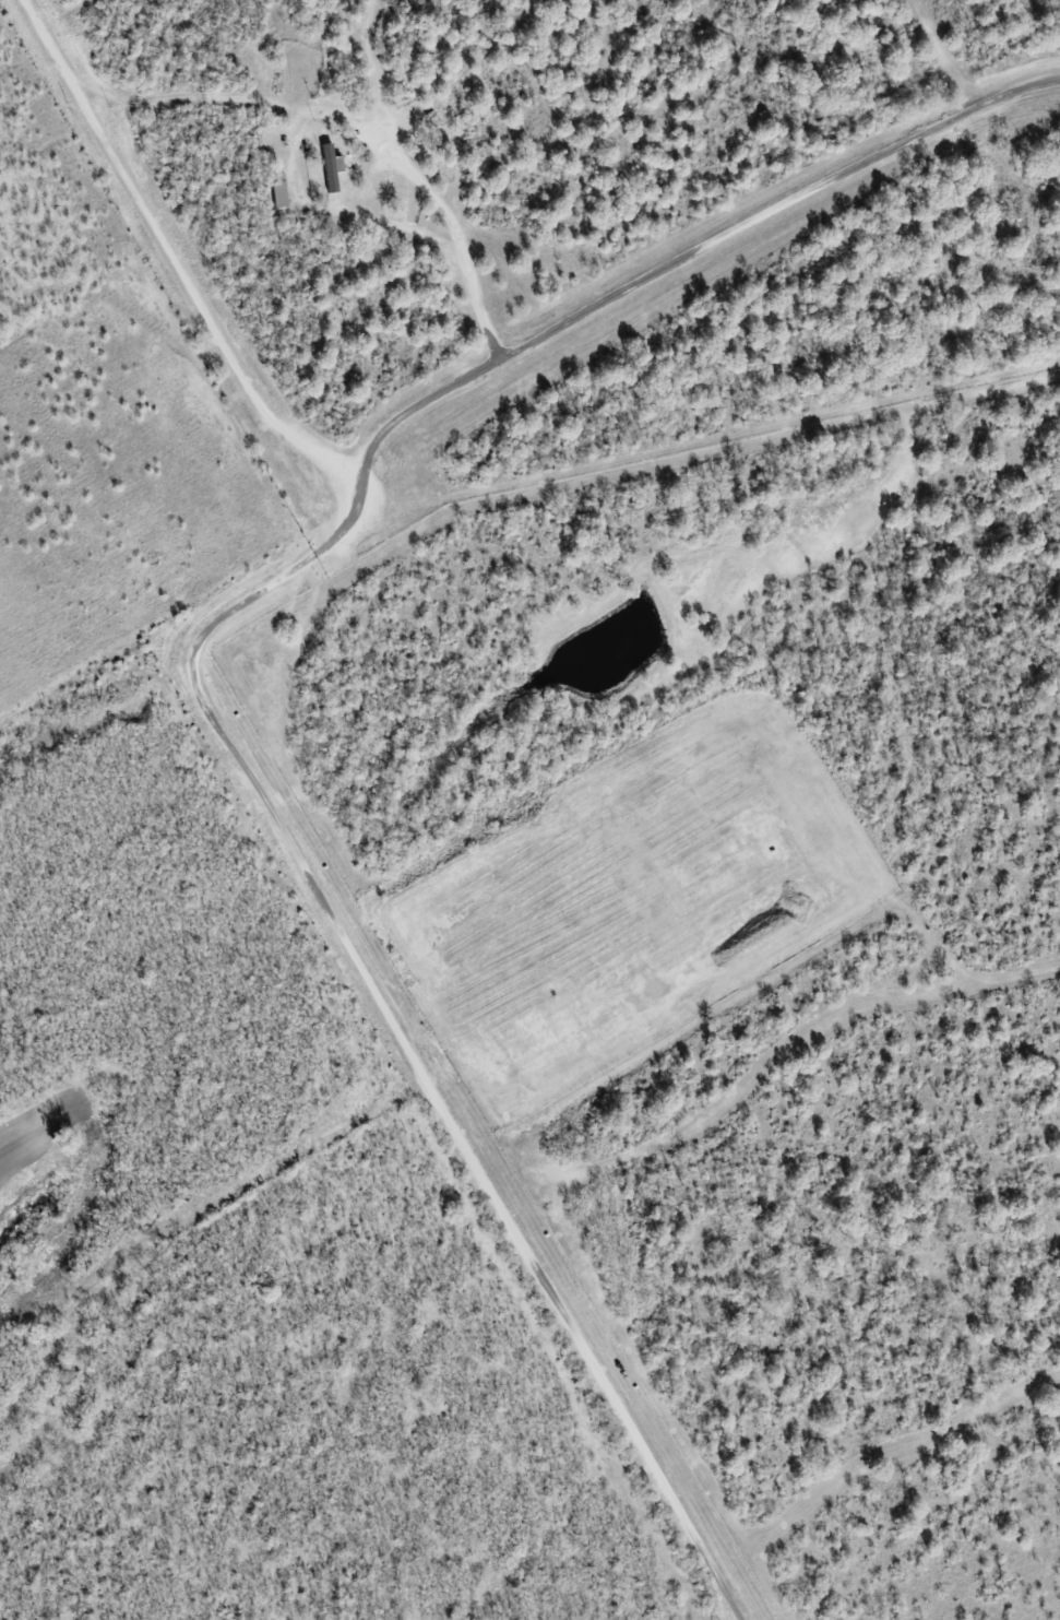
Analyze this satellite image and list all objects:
road: (461, 237)
road: (687, 255)
road: (323, 466)
road: (599, 1030)
road: (527, 1255)

